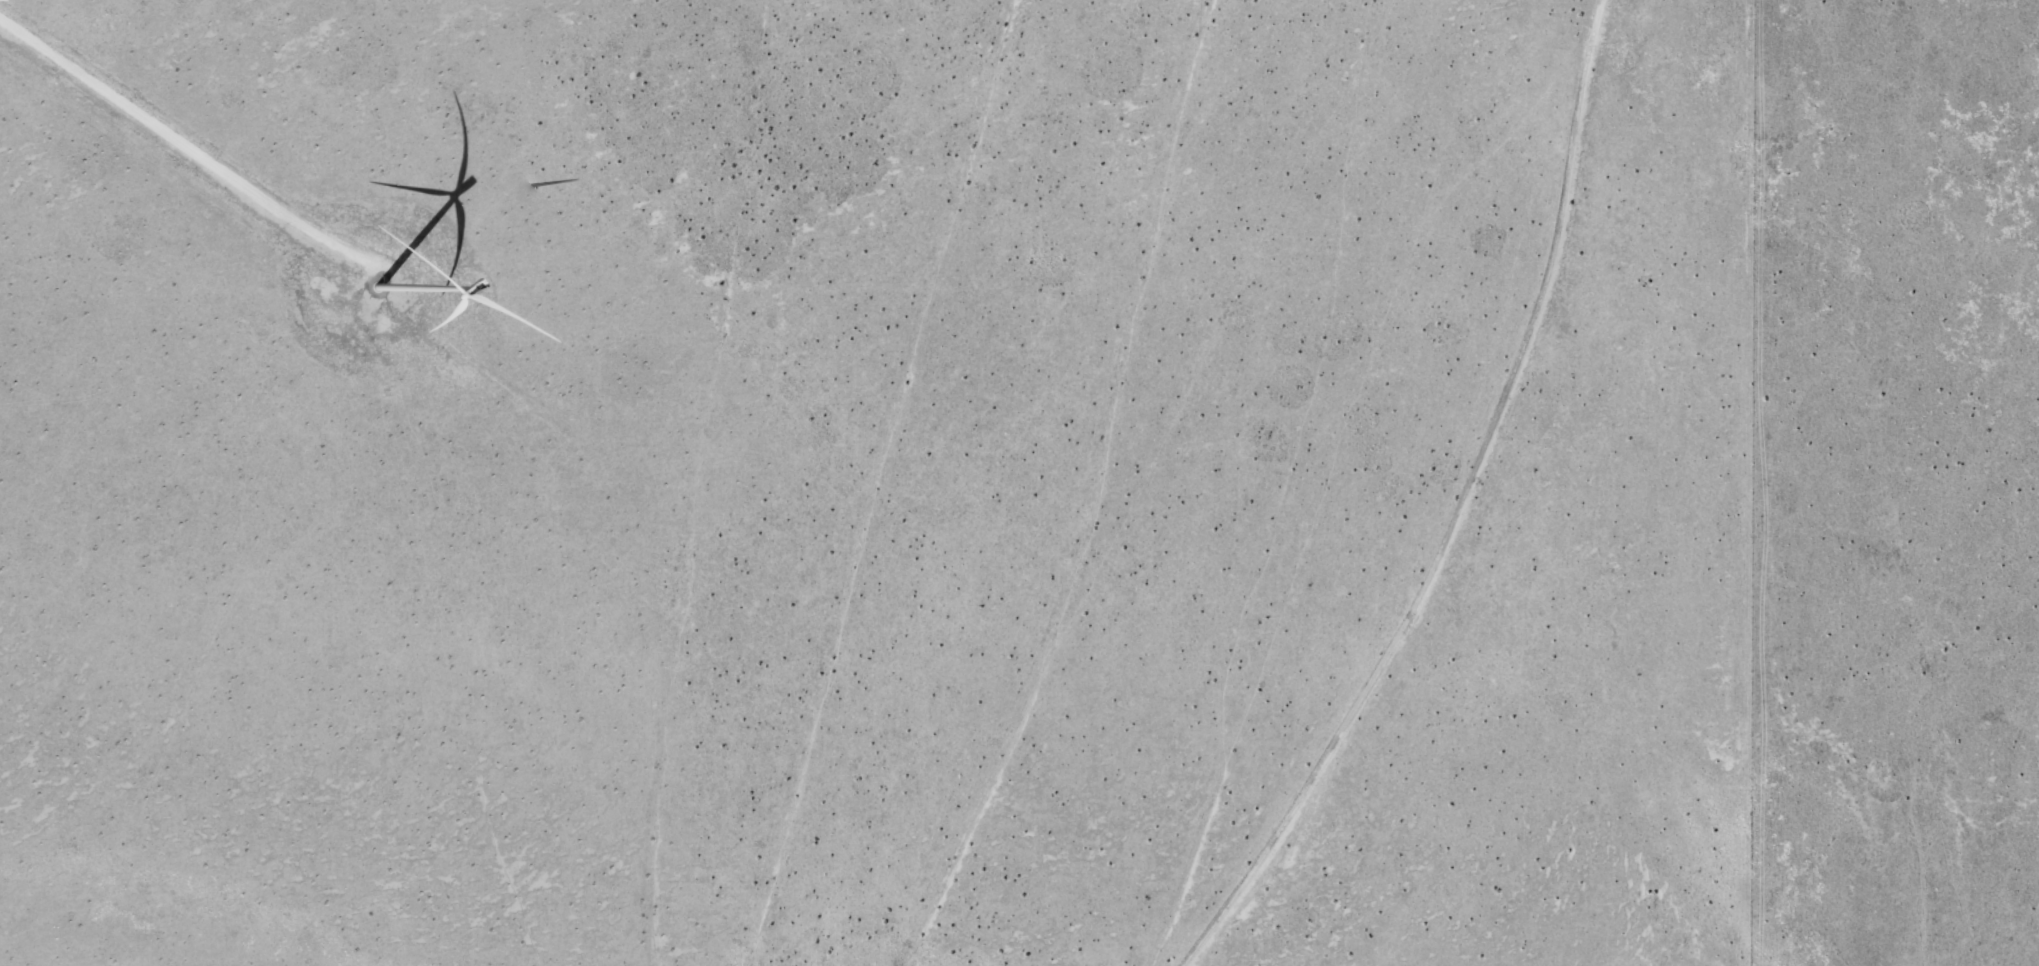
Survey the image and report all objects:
road: (5, 1)
road: (173, 139)
wind turbine: (383, 282)

